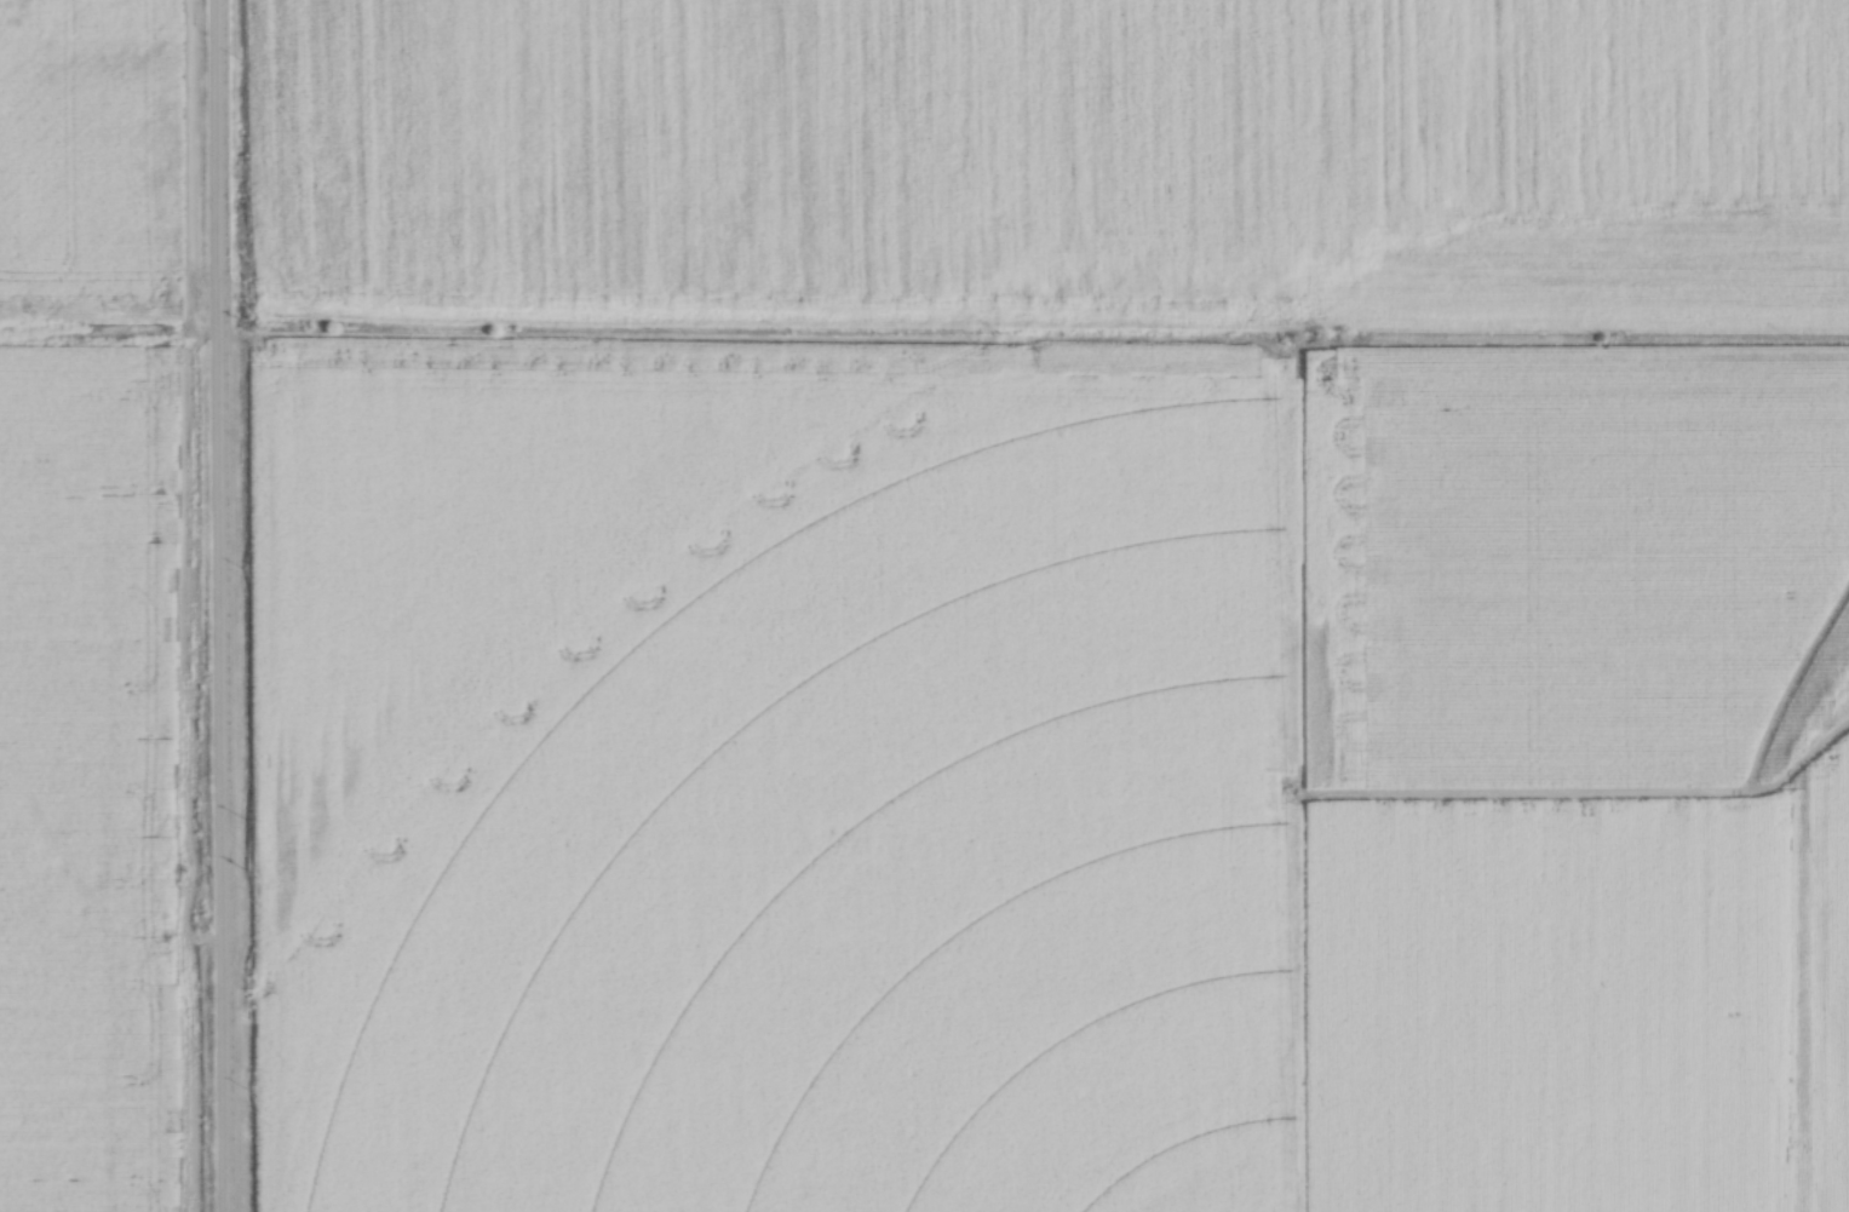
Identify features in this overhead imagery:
road: (224, 605)
building: (1, 888)

